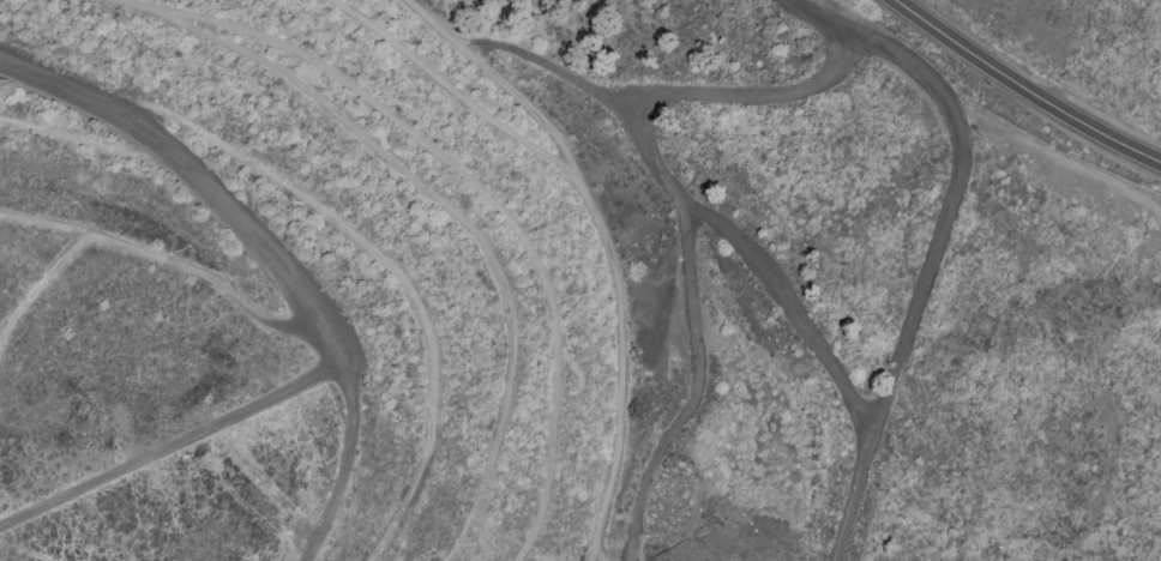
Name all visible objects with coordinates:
road: (822, 19)
road: (1023, 86)
road: (198, 174)
road: (681, 212)
road: (930, 277)
landfill: (437, 280)
road: (788, 307)

